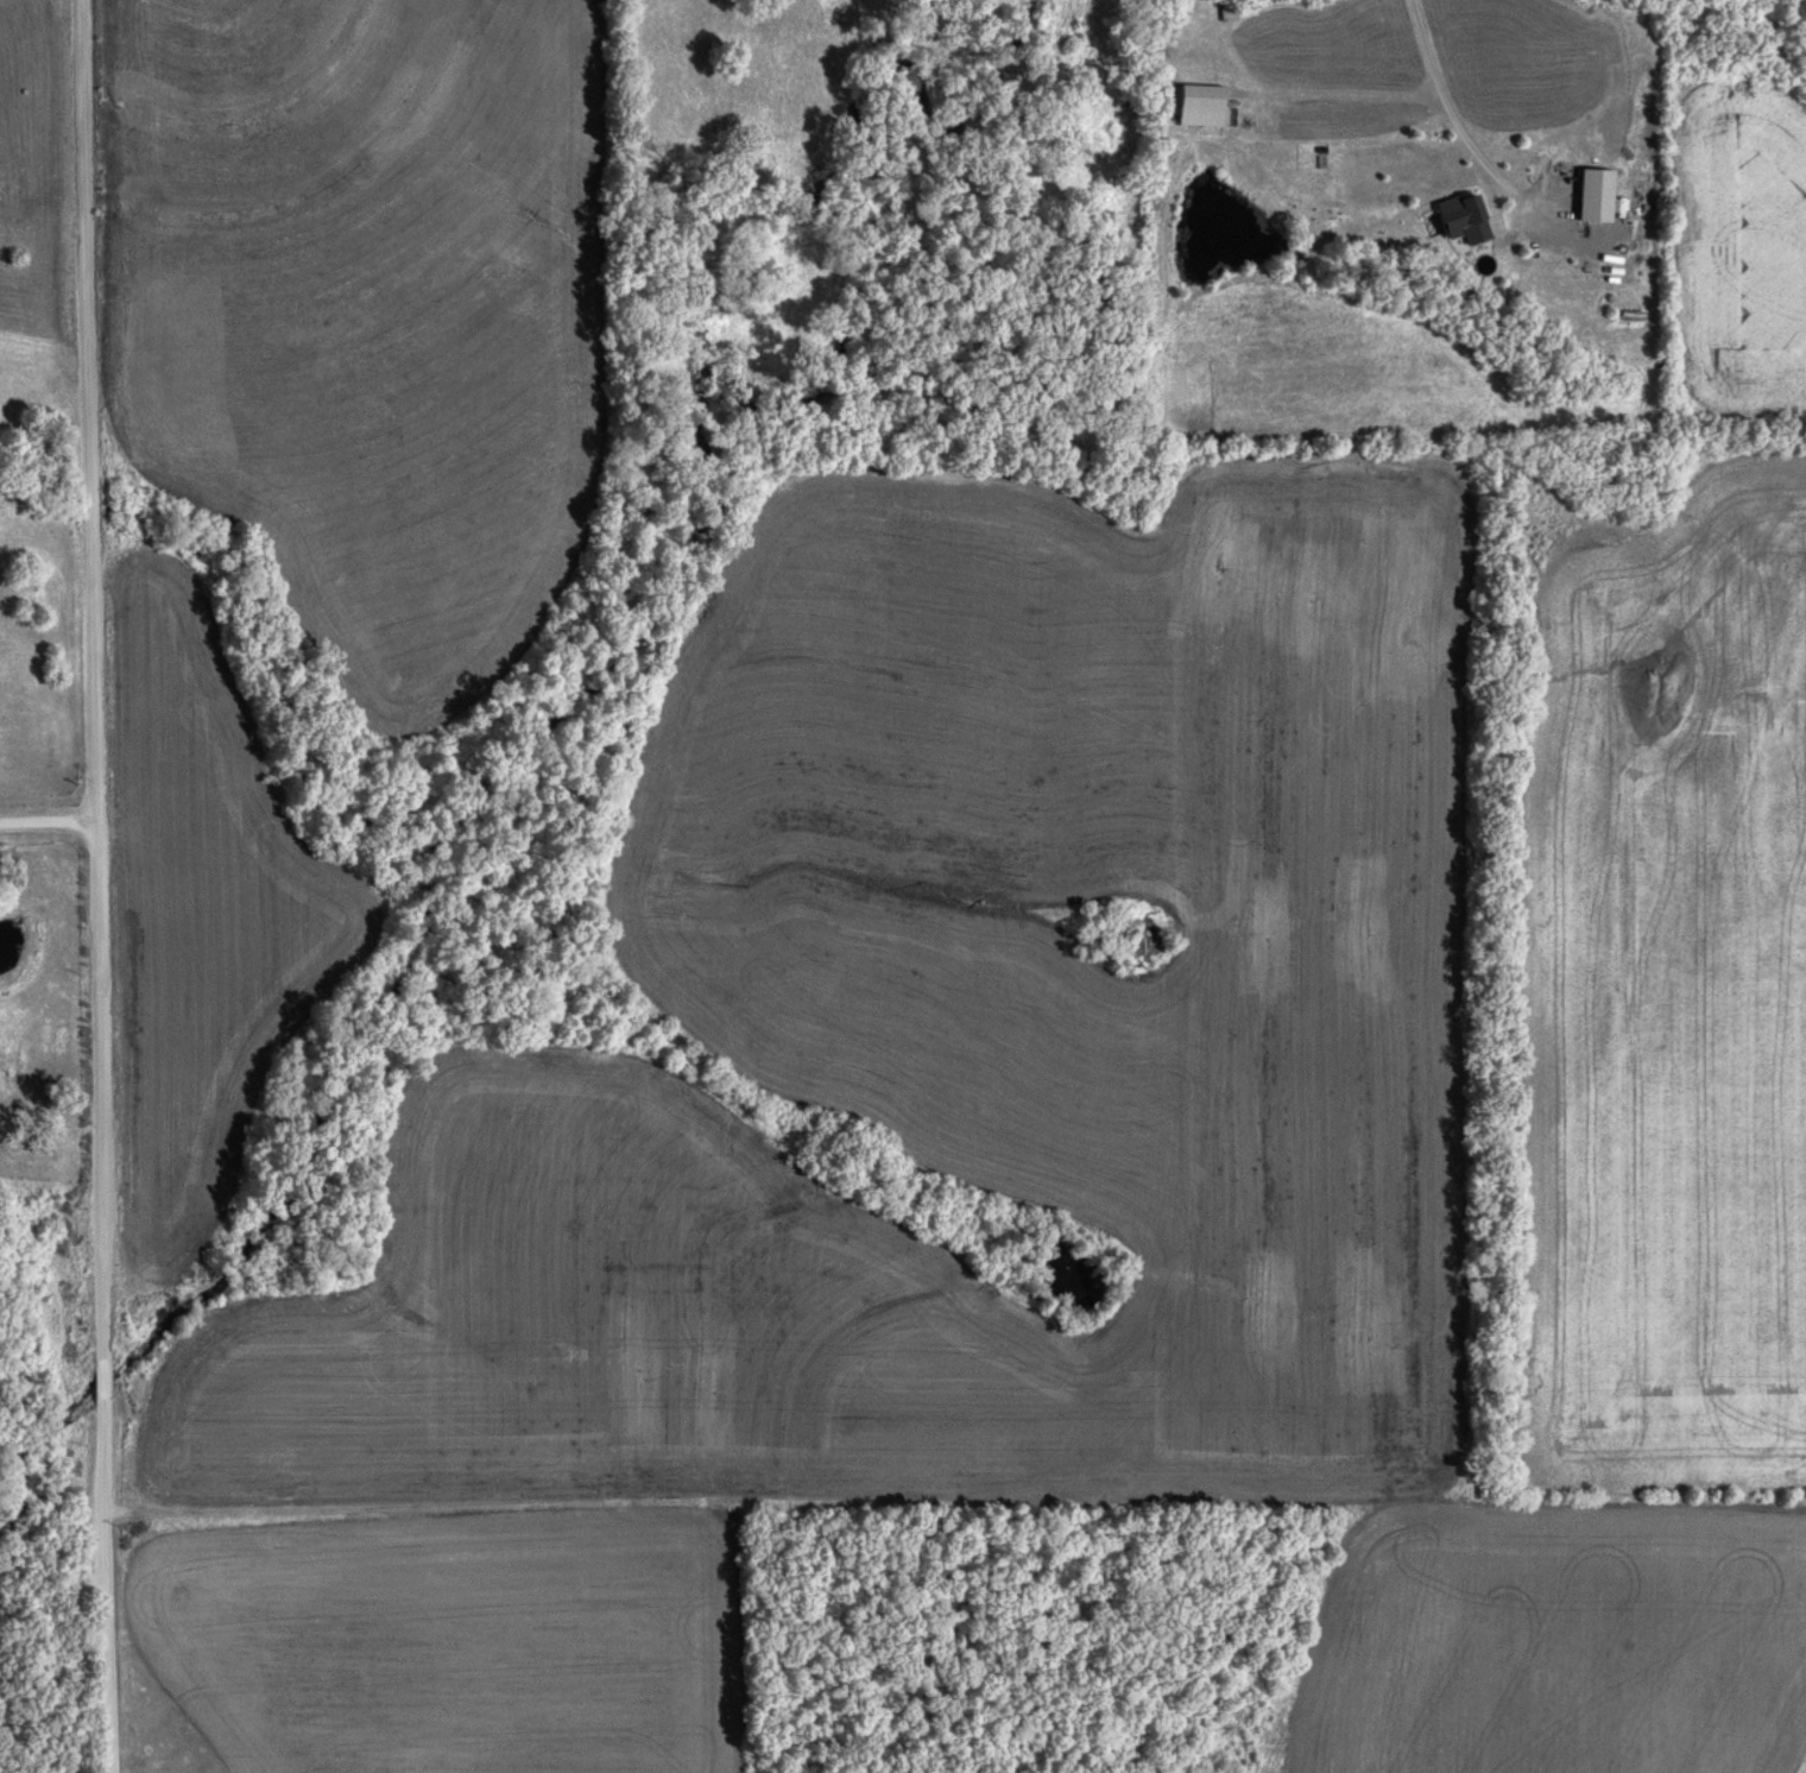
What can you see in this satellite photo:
road: (50, 821)
road: (100, 885)

